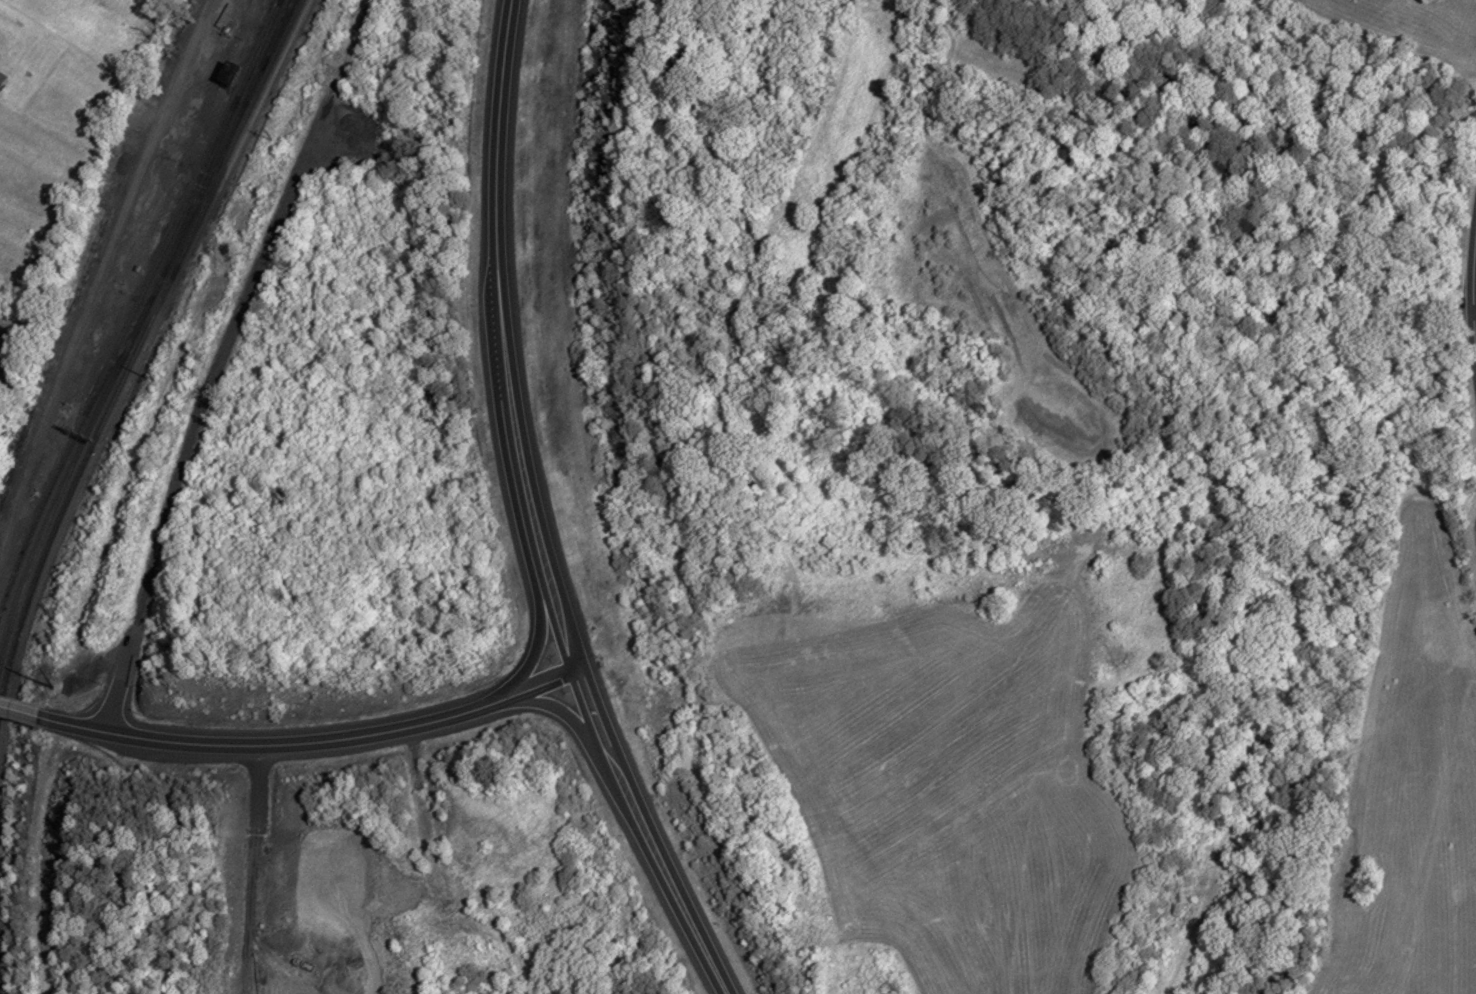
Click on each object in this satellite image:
railway: (275, 34)
railway: (262, 41)
railway: (270, 49)
building: (2, 77)
building: (233, 77)
railway: (238, 138)
railway: (200, 184)
railway: (209, 188)
railway: (165, 267)
road: (1473, 293)
road: (1475, 312)
railway: (118, 346)
railway: (120, 353)
railway: (133, 359)
road: (200, 408)
road: (533, 515)
railway: (37, 548)
railway: (37, 572)
road: (542, 608)
road: (19, 714)
road: (585, 738)
road: (313, 742)

